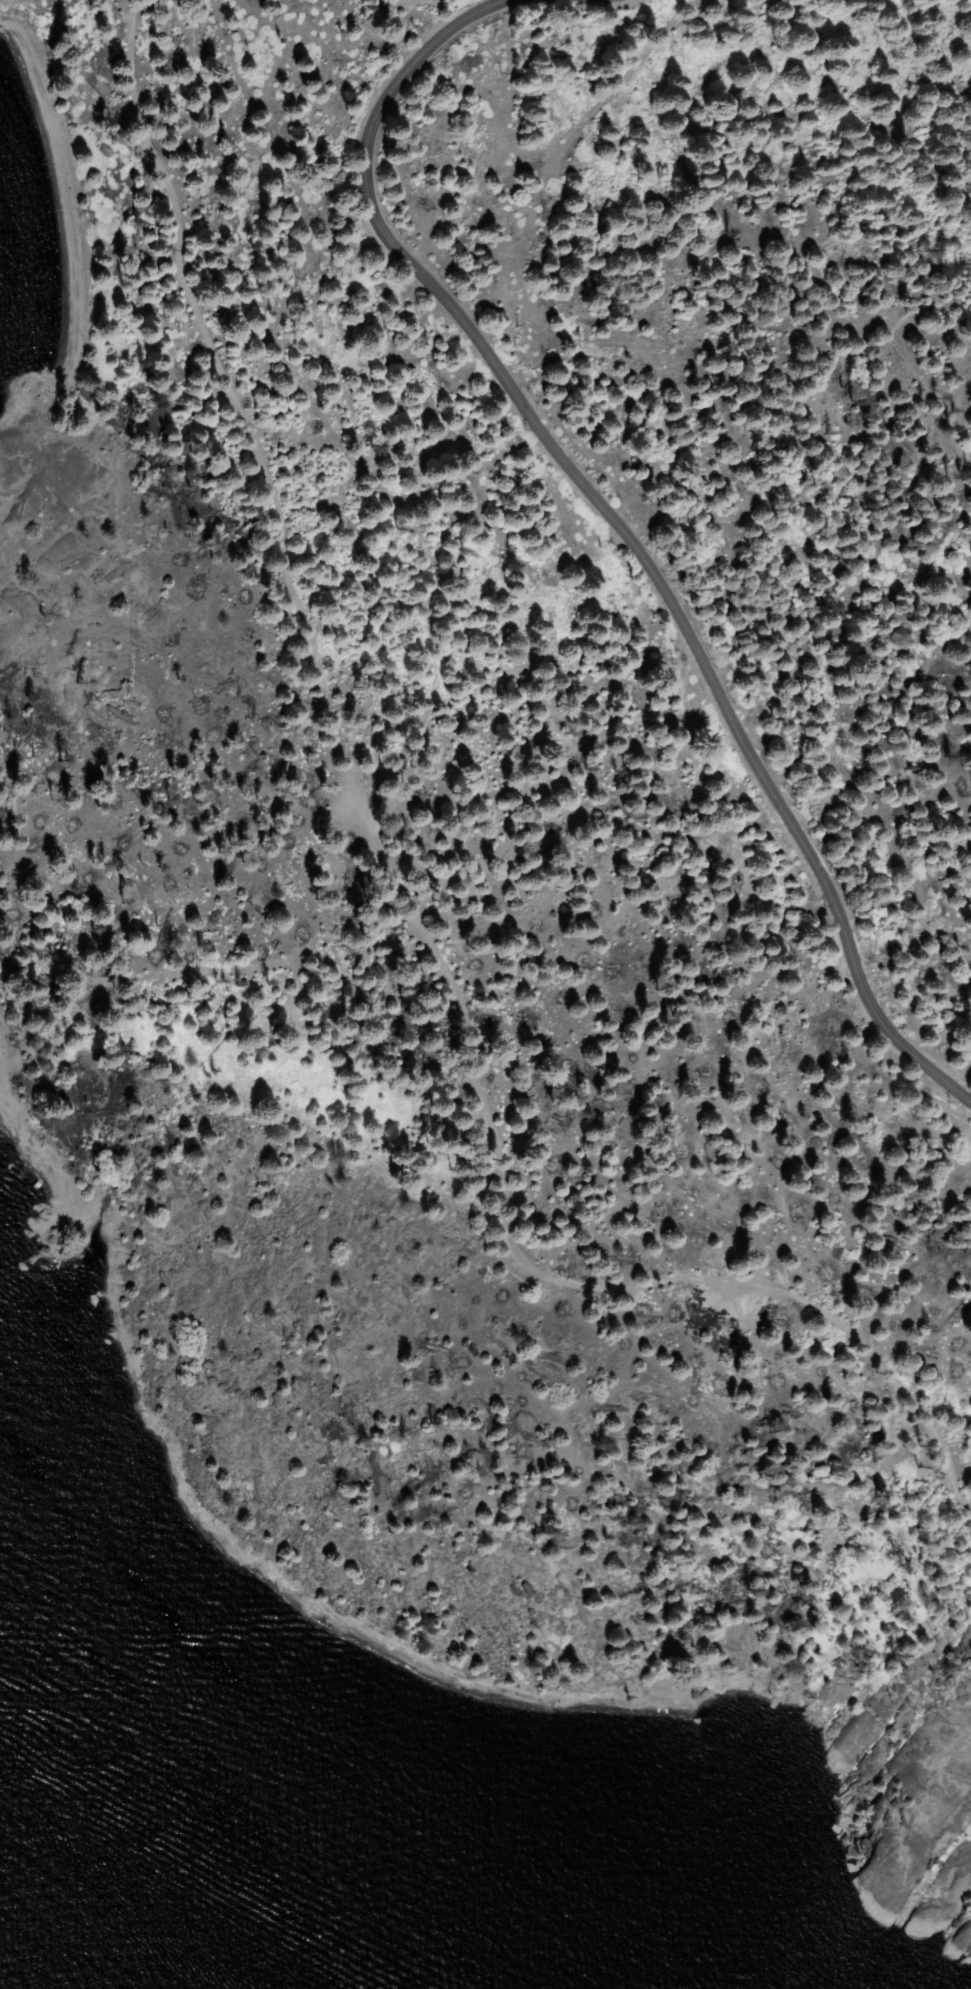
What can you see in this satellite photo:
road: (612, 528)
road: (405, 895)

